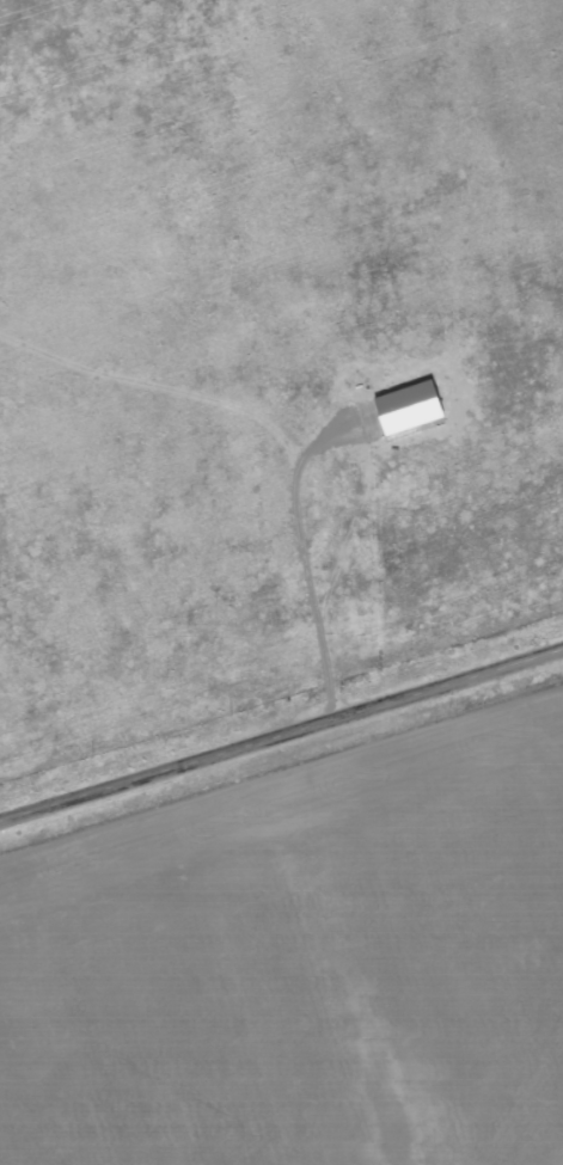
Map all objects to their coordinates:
road: (281, 743)

